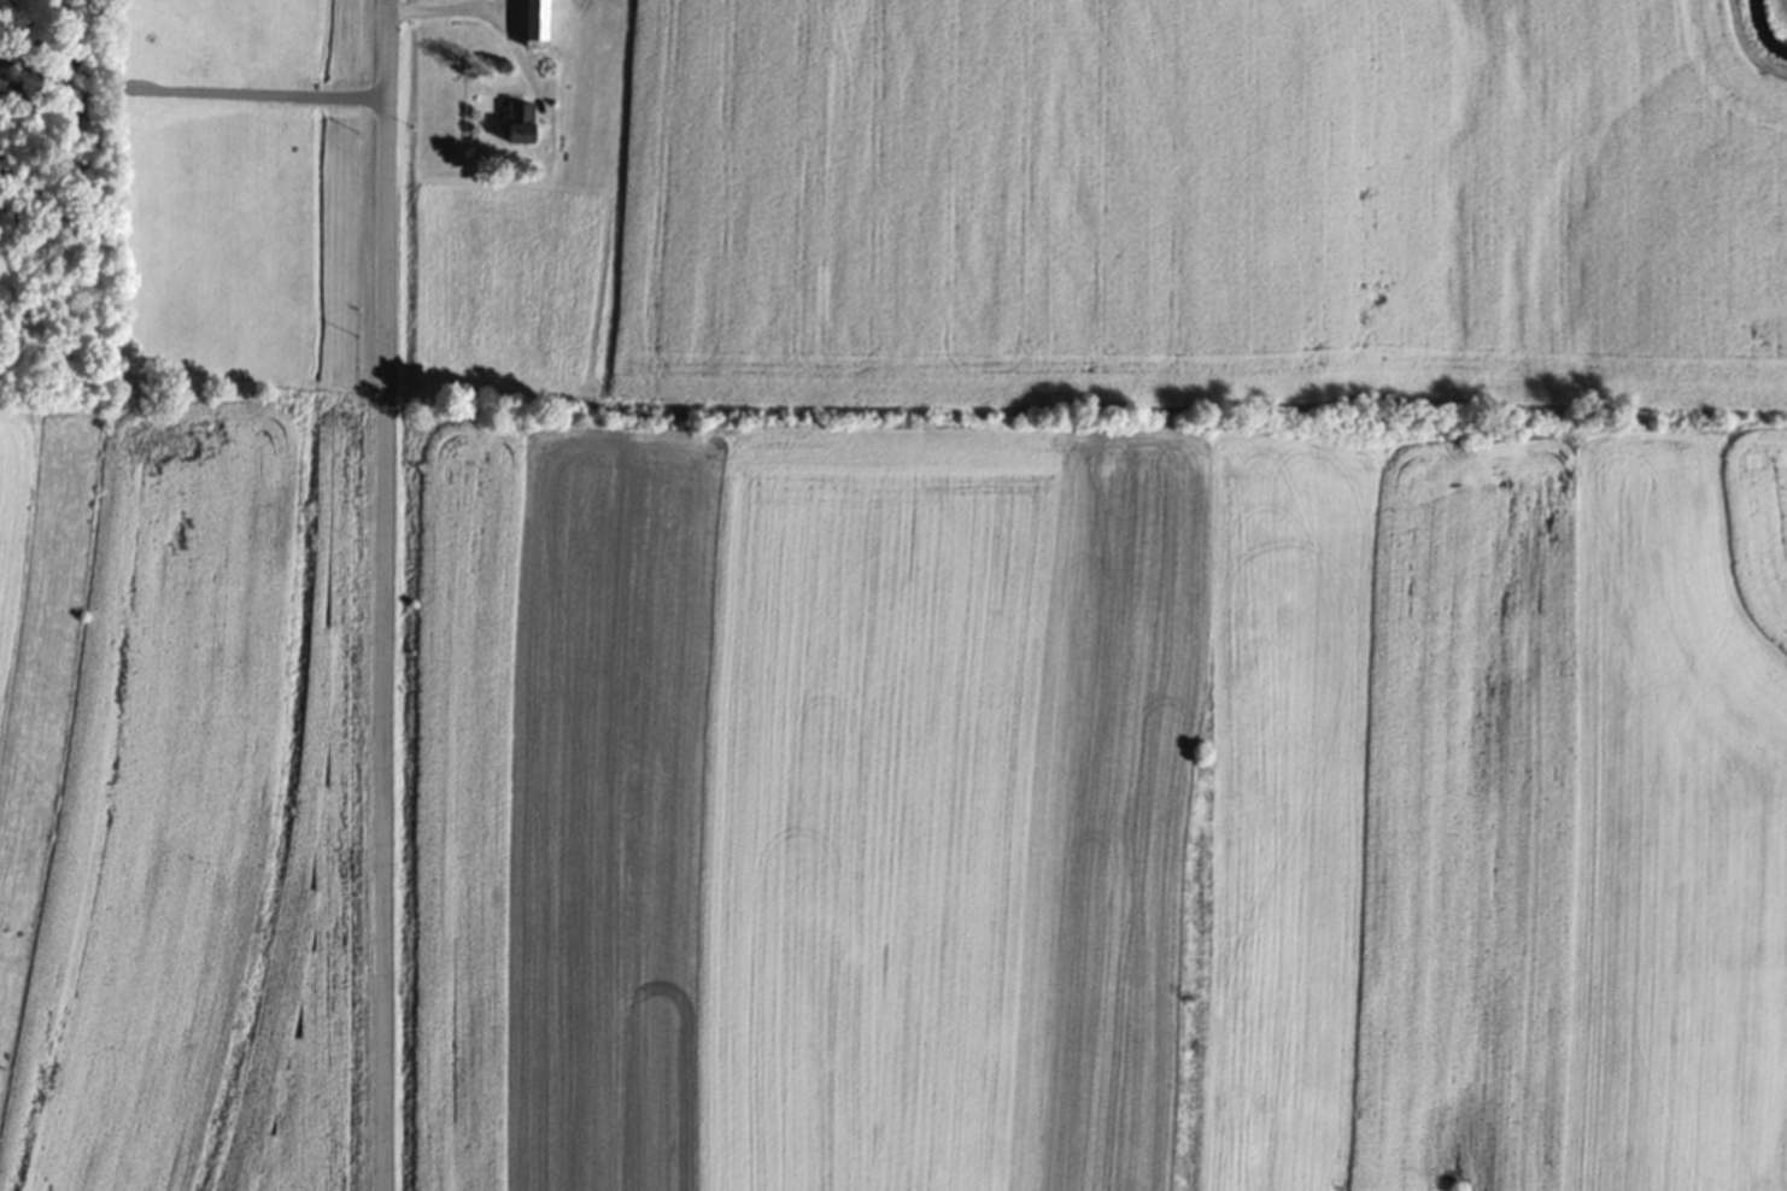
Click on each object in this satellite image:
road: (450, 11)
building: (539, 25)
road: (40, 78)
road: (233, 101)
building: (522, 133)
road: (51, 176)
road: (386, 594)

